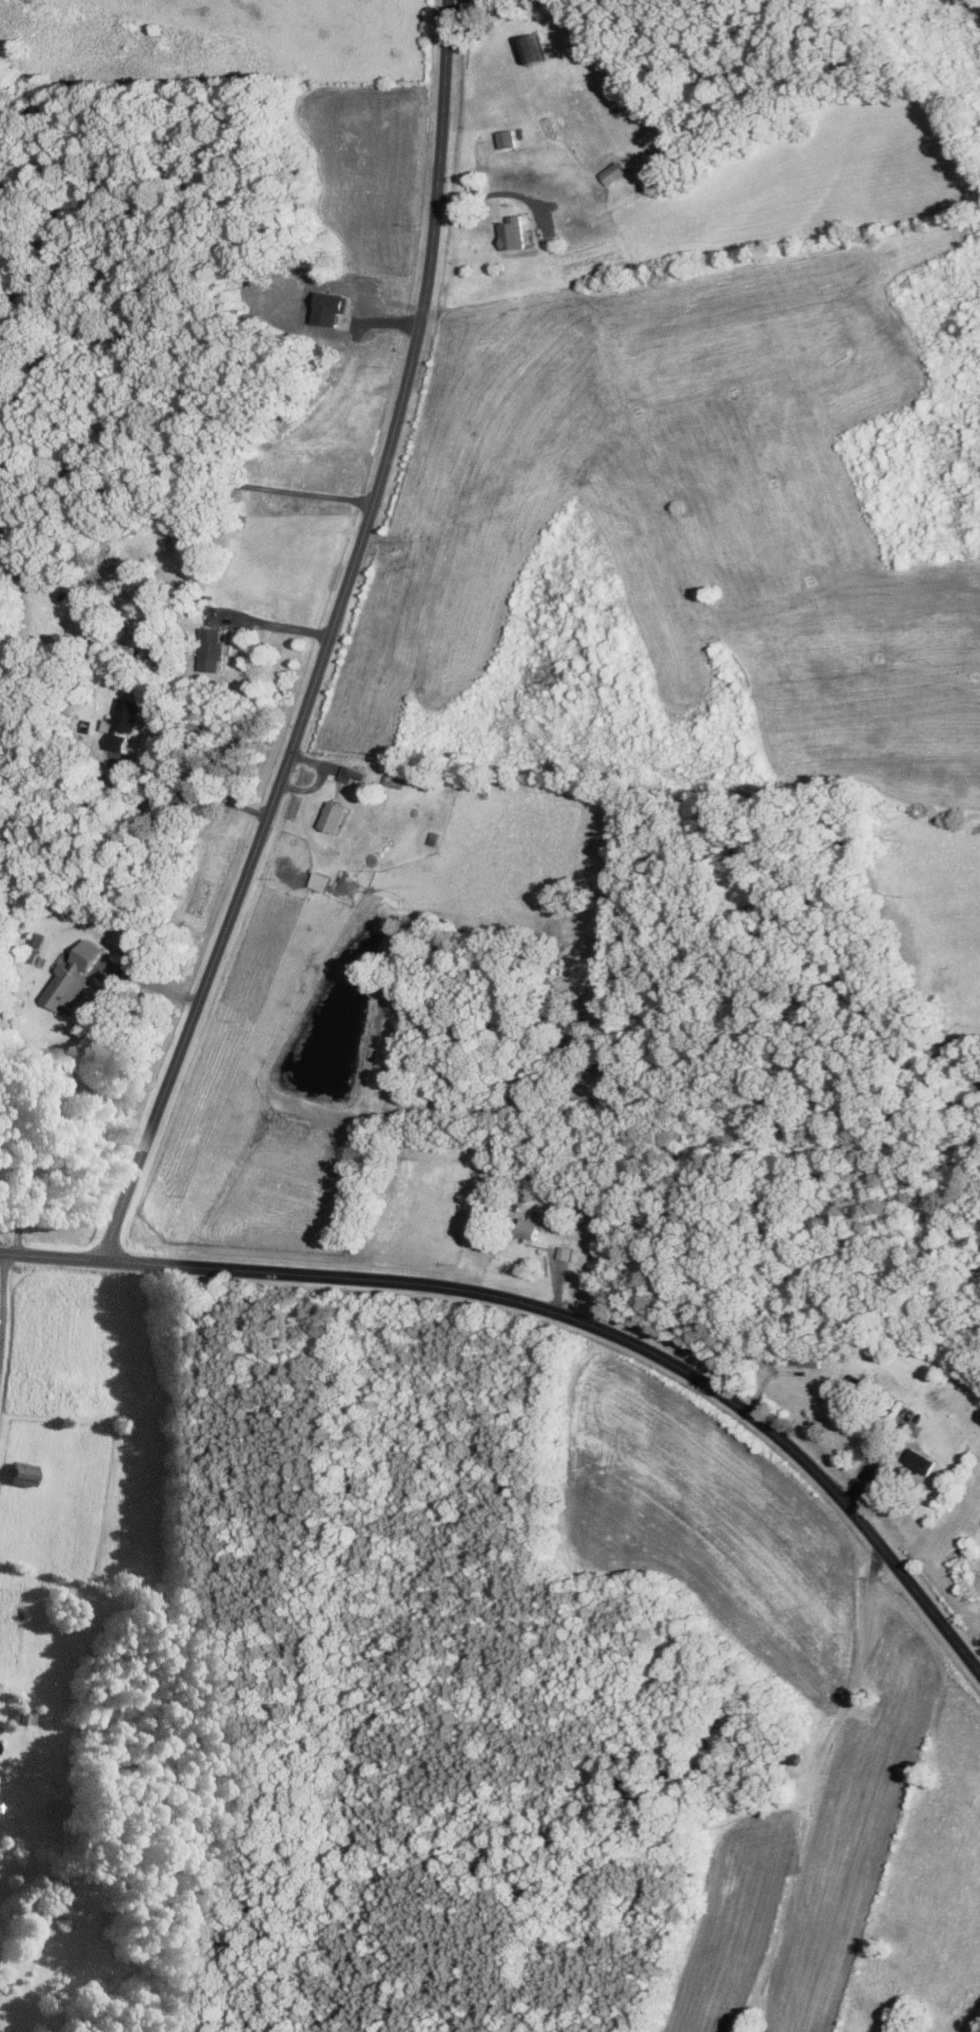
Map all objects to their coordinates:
building: (531, 49)
building: (506, 139)
building: (613, 173)
road: (493, 193)
building: (512, 233)
road: (187, 475)
road: (269, 623)
road: (327, 637)
building: (212, 647)
building: (122, 723)
road: (134, 756)
building: (349, 773)
building: (332, 815)
building: (319, 880)
building: (72, 976)
road: (70, 1073)
building: (529, 1226)
building: (563, 1252)
road: (559, 1312)
road: (4, 1314)
building: (919, 1461)
road: (873, 1465)
building: (23, 1473)
road: (861, 1654)
building: (24, 1716)
road: (35, 1871)
building: (71, 1913)
building: (39, 1935)

